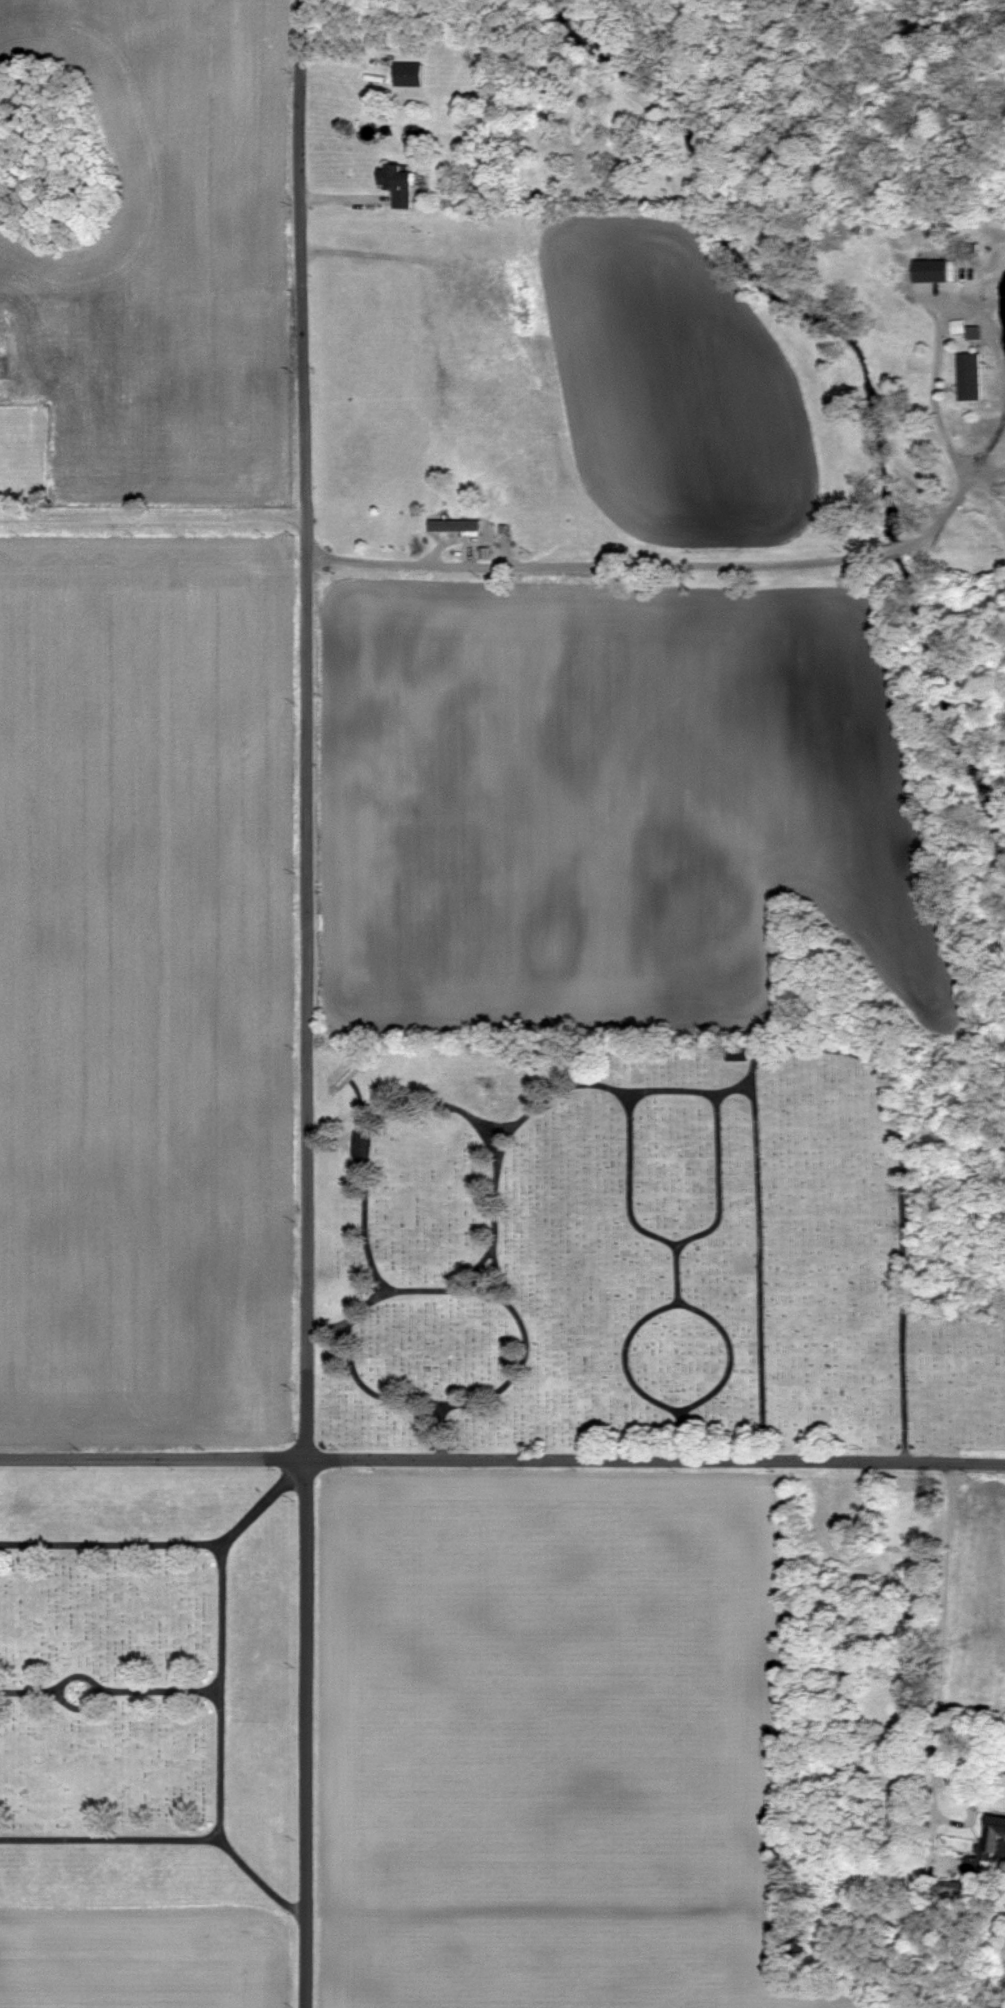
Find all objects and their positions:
building: (411, 72)
building: (403, 183)
building: (935, 269)
building: (973, 331)
building: (14, 362)
building: (970, 375)
road: (152, 516)
building: (456, 523)
building: (486, 551)
road: (845, 560)
road: (306, 1004)
road: (797, 1039)
road: (680, 1240)
park: (640, 1244)
road: (760, 1267)
road: (684, 1268)
road: (446, 1284)
road: (710, 1300)
road: (438, 1400)
road: (443, 1430)
road: (502, 1460)
road: (264, 1500)
road: (942, 1656)
park: (150, 1682)
road: (158, 1689)
road: (220, 1689)
road: (30, 1691)
road: (78, 1707)
building: (997, 1830)
building: (972, 1864)
road: (261, 1881)
building: (962, 1887)

